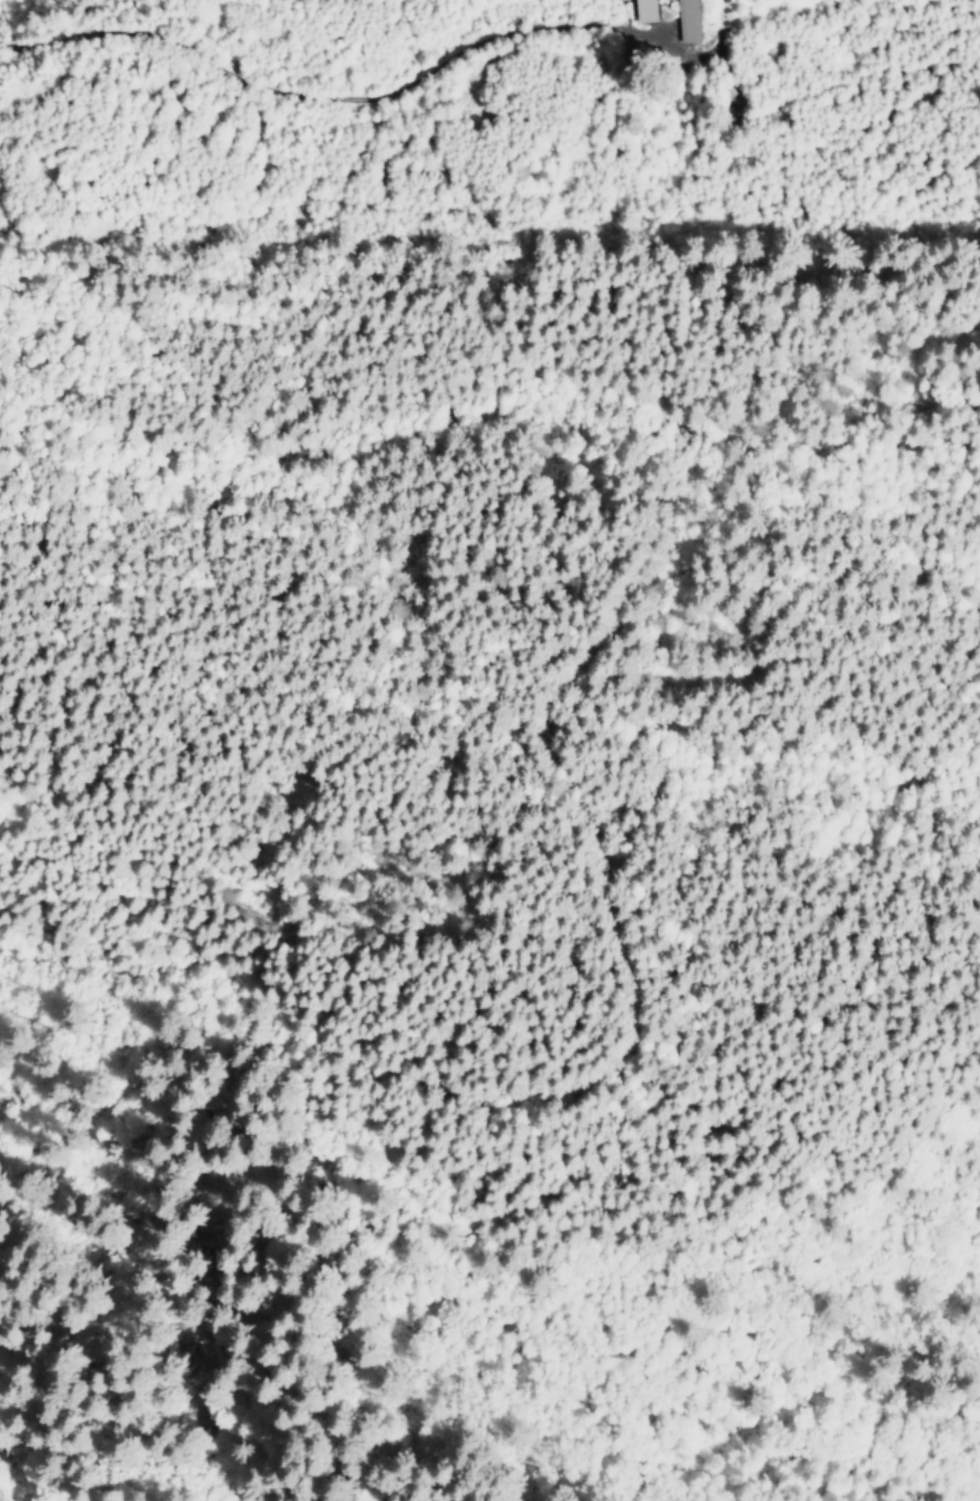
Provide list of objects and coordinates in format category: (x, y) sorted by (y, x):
building: (642, 10)
building: (684, 20)
road: (354, 99)
road: (542, 1103)

